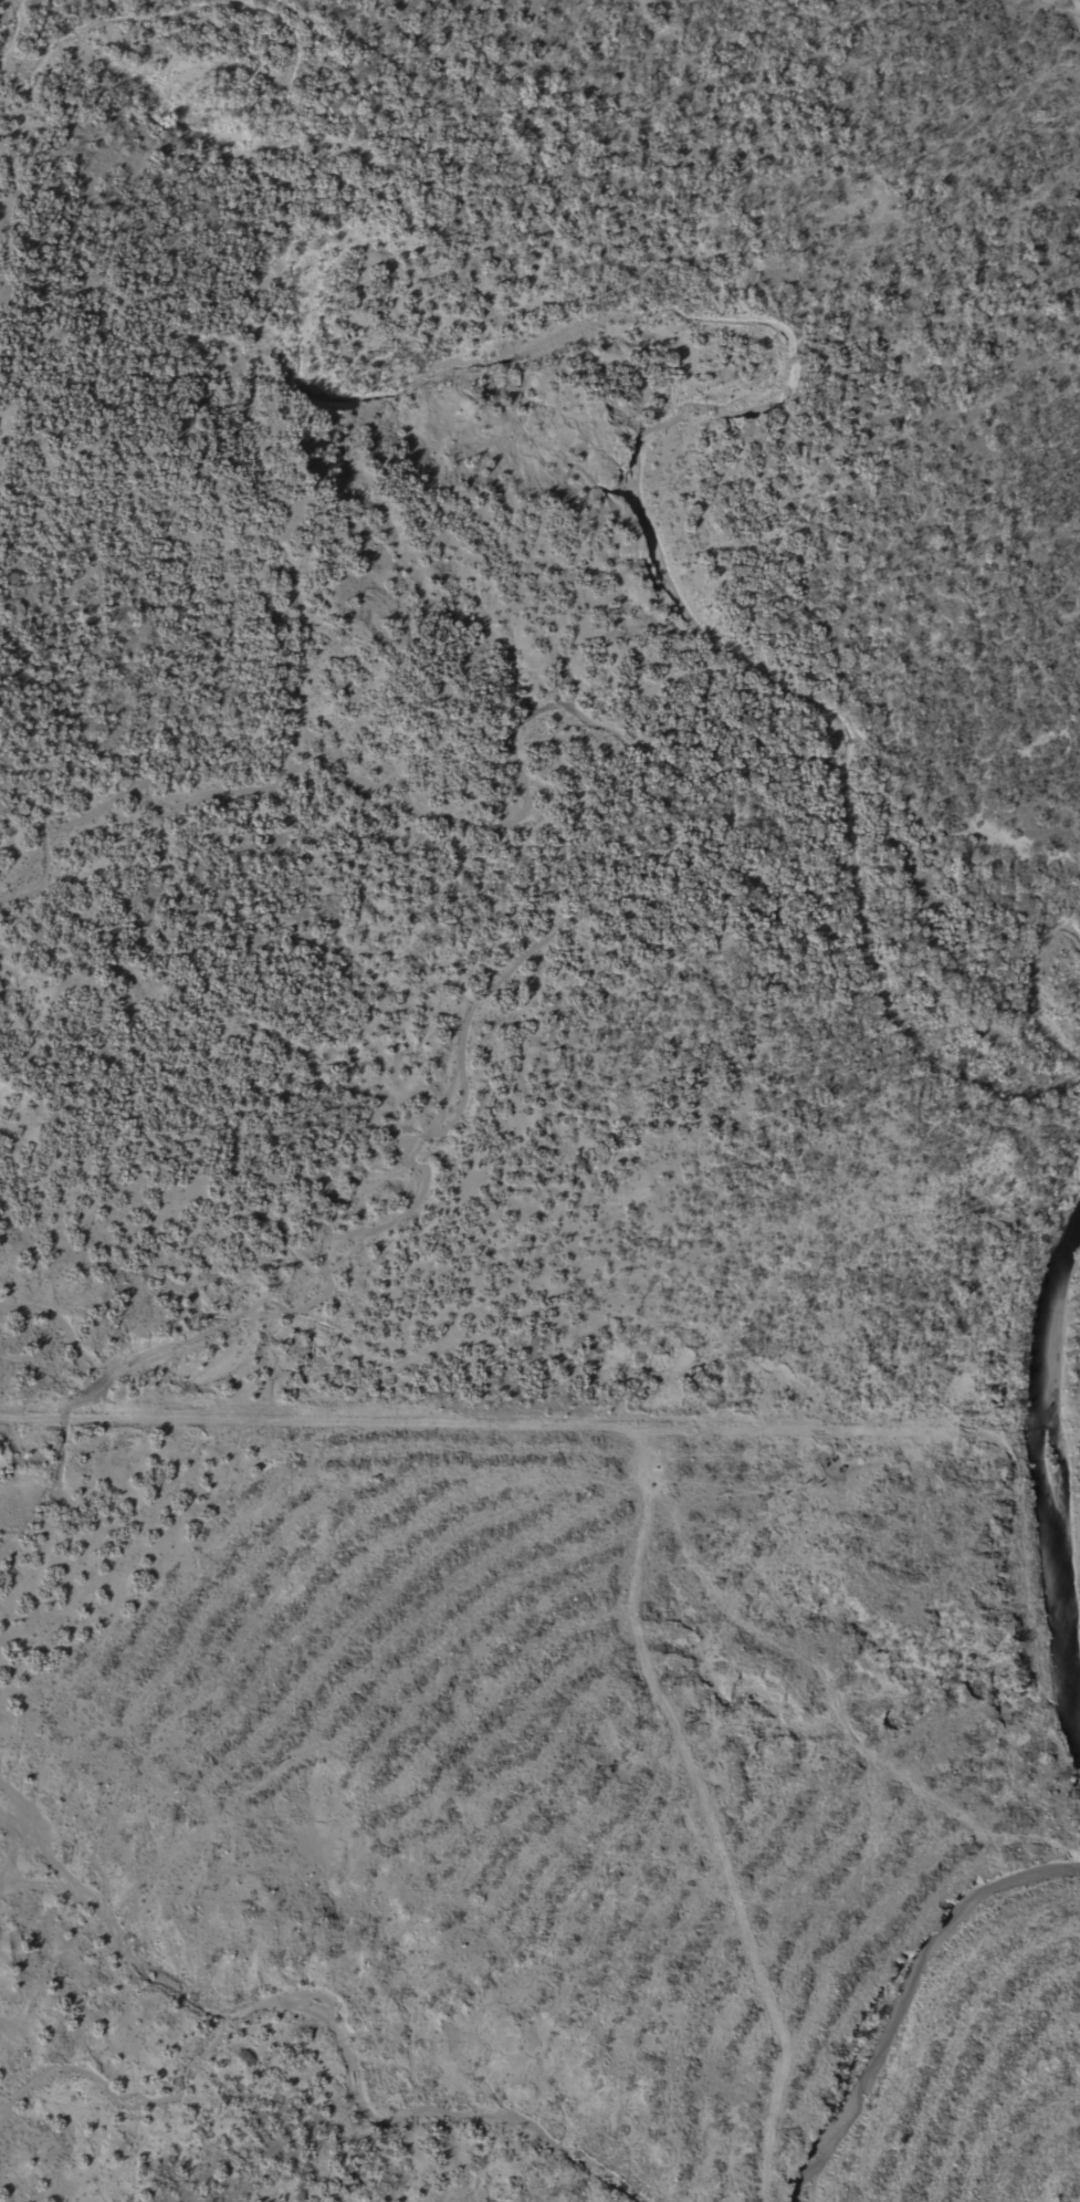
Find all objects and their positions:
road: (1005, 763)
river: (1056, 1476)

